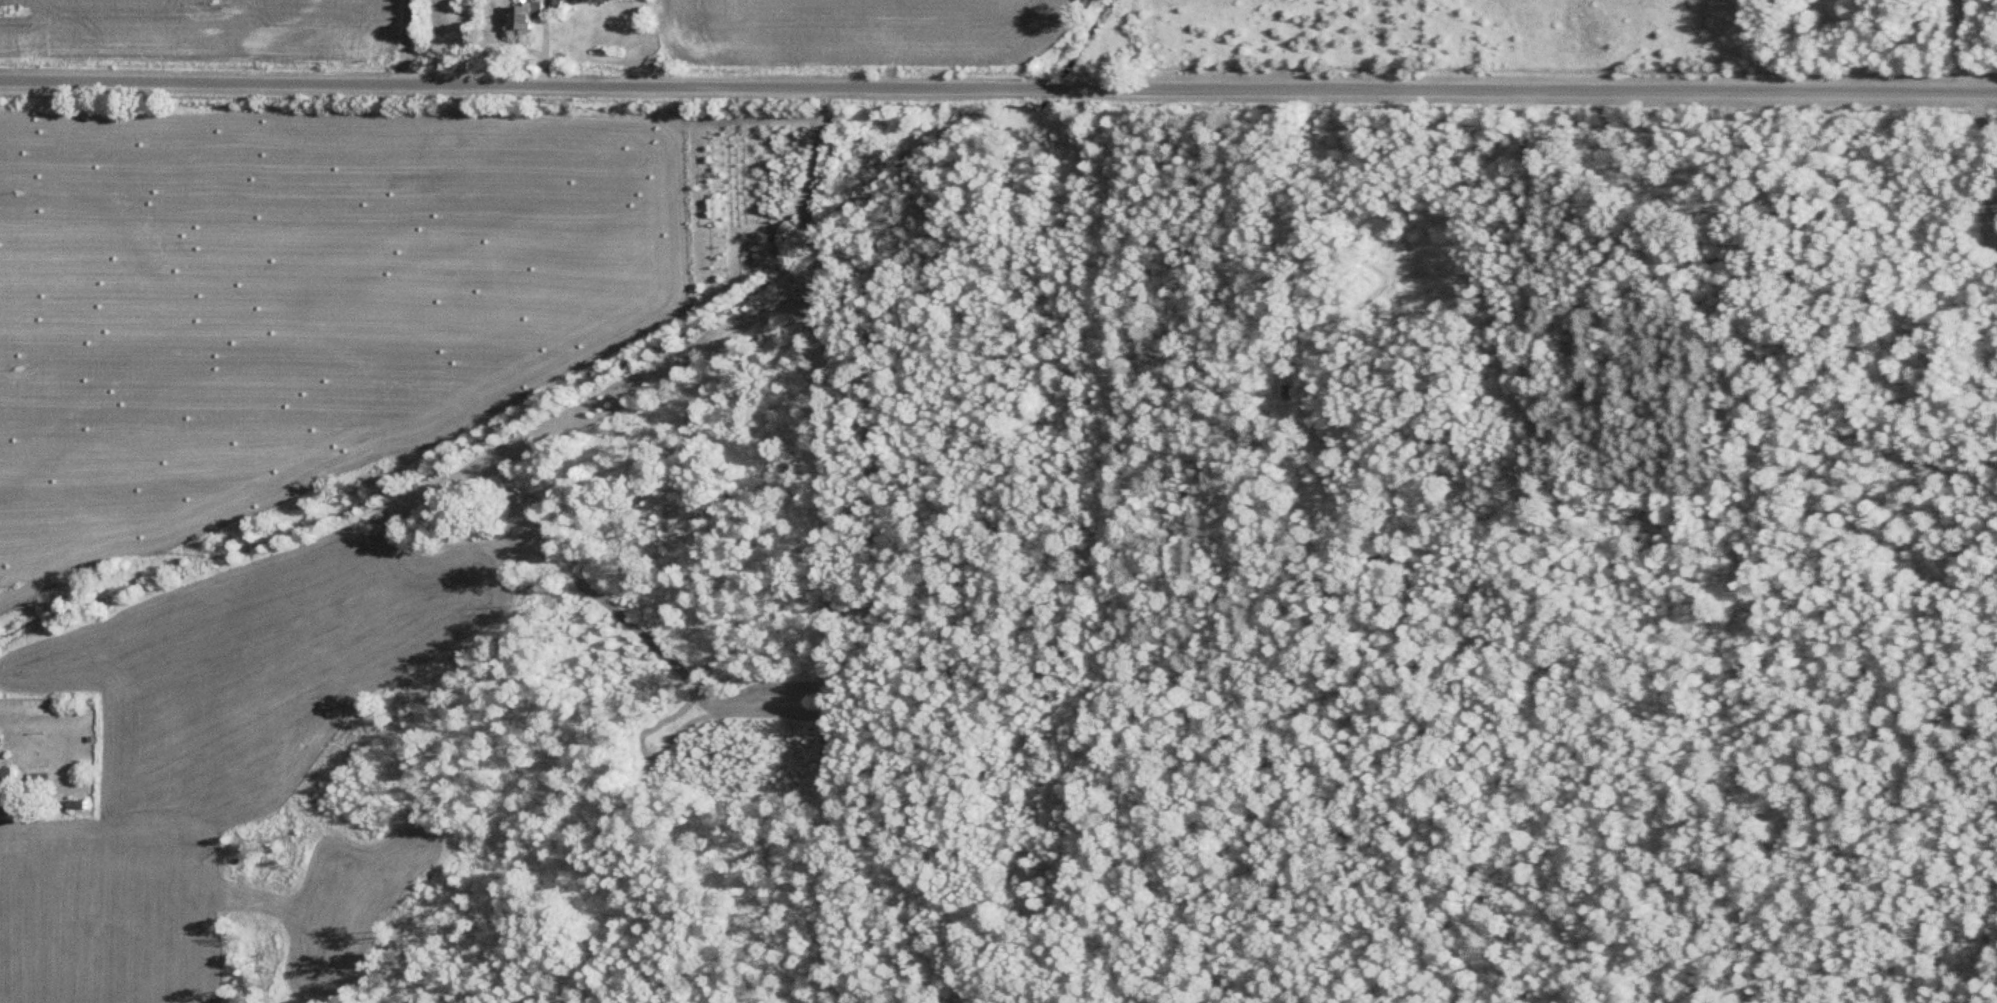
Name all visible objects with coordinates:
building: (533, 14)
road: (998, 93)
building: (1, 742)
building: (10, 781)

